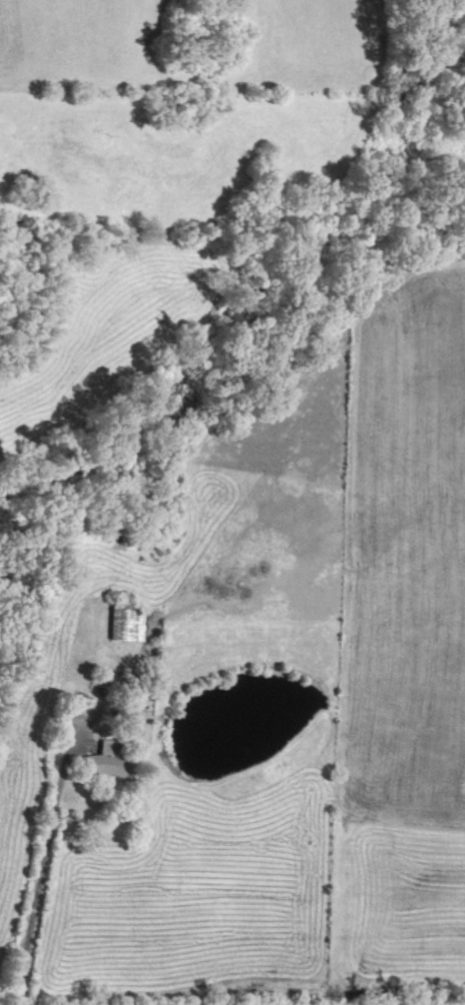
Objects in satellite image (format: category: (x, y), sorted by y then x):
building: (124, 625)
building: (98, 766)
road: (104, 811)

